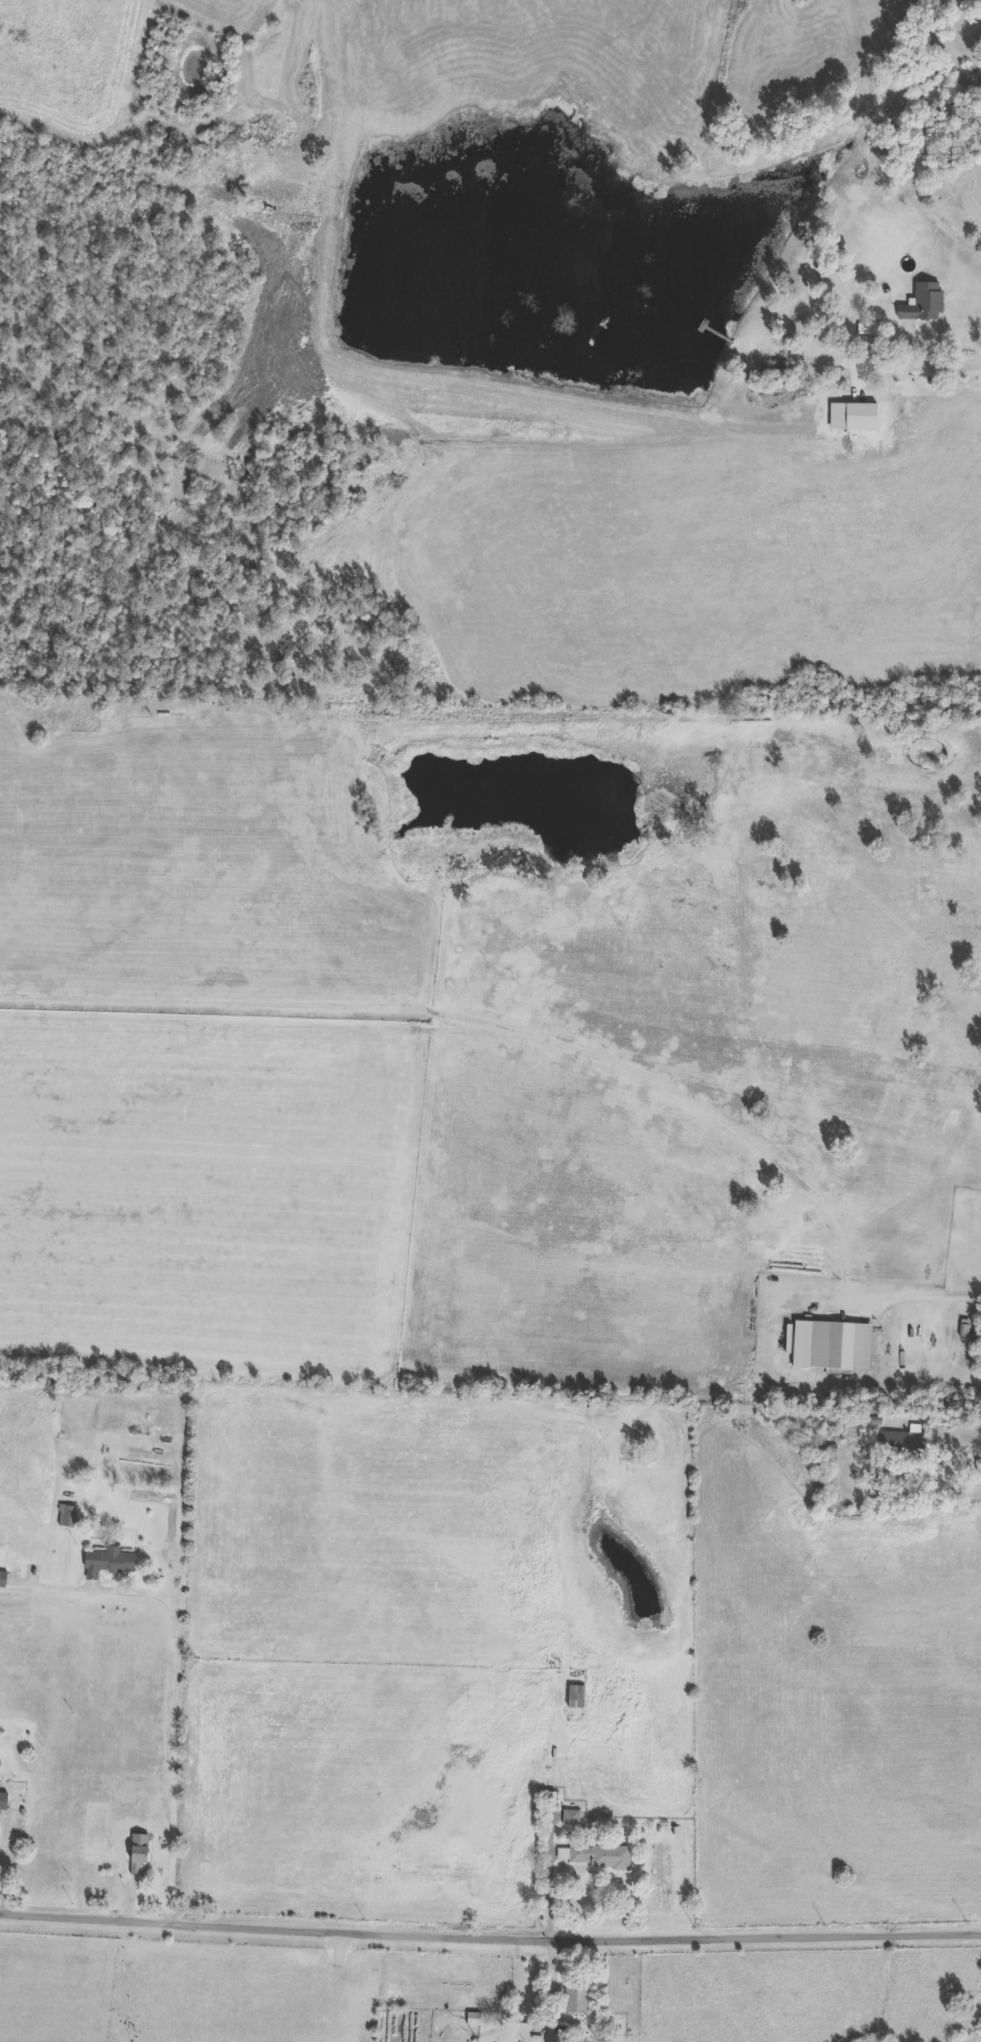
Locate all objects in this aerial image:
building: (979, 43)
building: (926, 303)
road: (941, 367)
building: (773, 374)
building: (379, 758)
road: (919, 1297)
building: (835, 1347)
building: (852, 1429)
building: (905, 1444)
road: (965, 1479)
building: (69, 1517)
building: (108, 1563)
building: (3, 1579)
road: (181, 1679)
building: (578, 1698)
building: (13, 1793)
building: (552, 1802)
building: (5, 1804)
building: (572, 1818)
building: (139, 1853)
building: (599, 1857)
road: (7, 1863)
road: (553, 1876)
road: (490, 1941)
road: (550, 1976)
road: (237, 1984)
building: (578, 1999)
building: (475, 2019)
building: (557, 2034)

